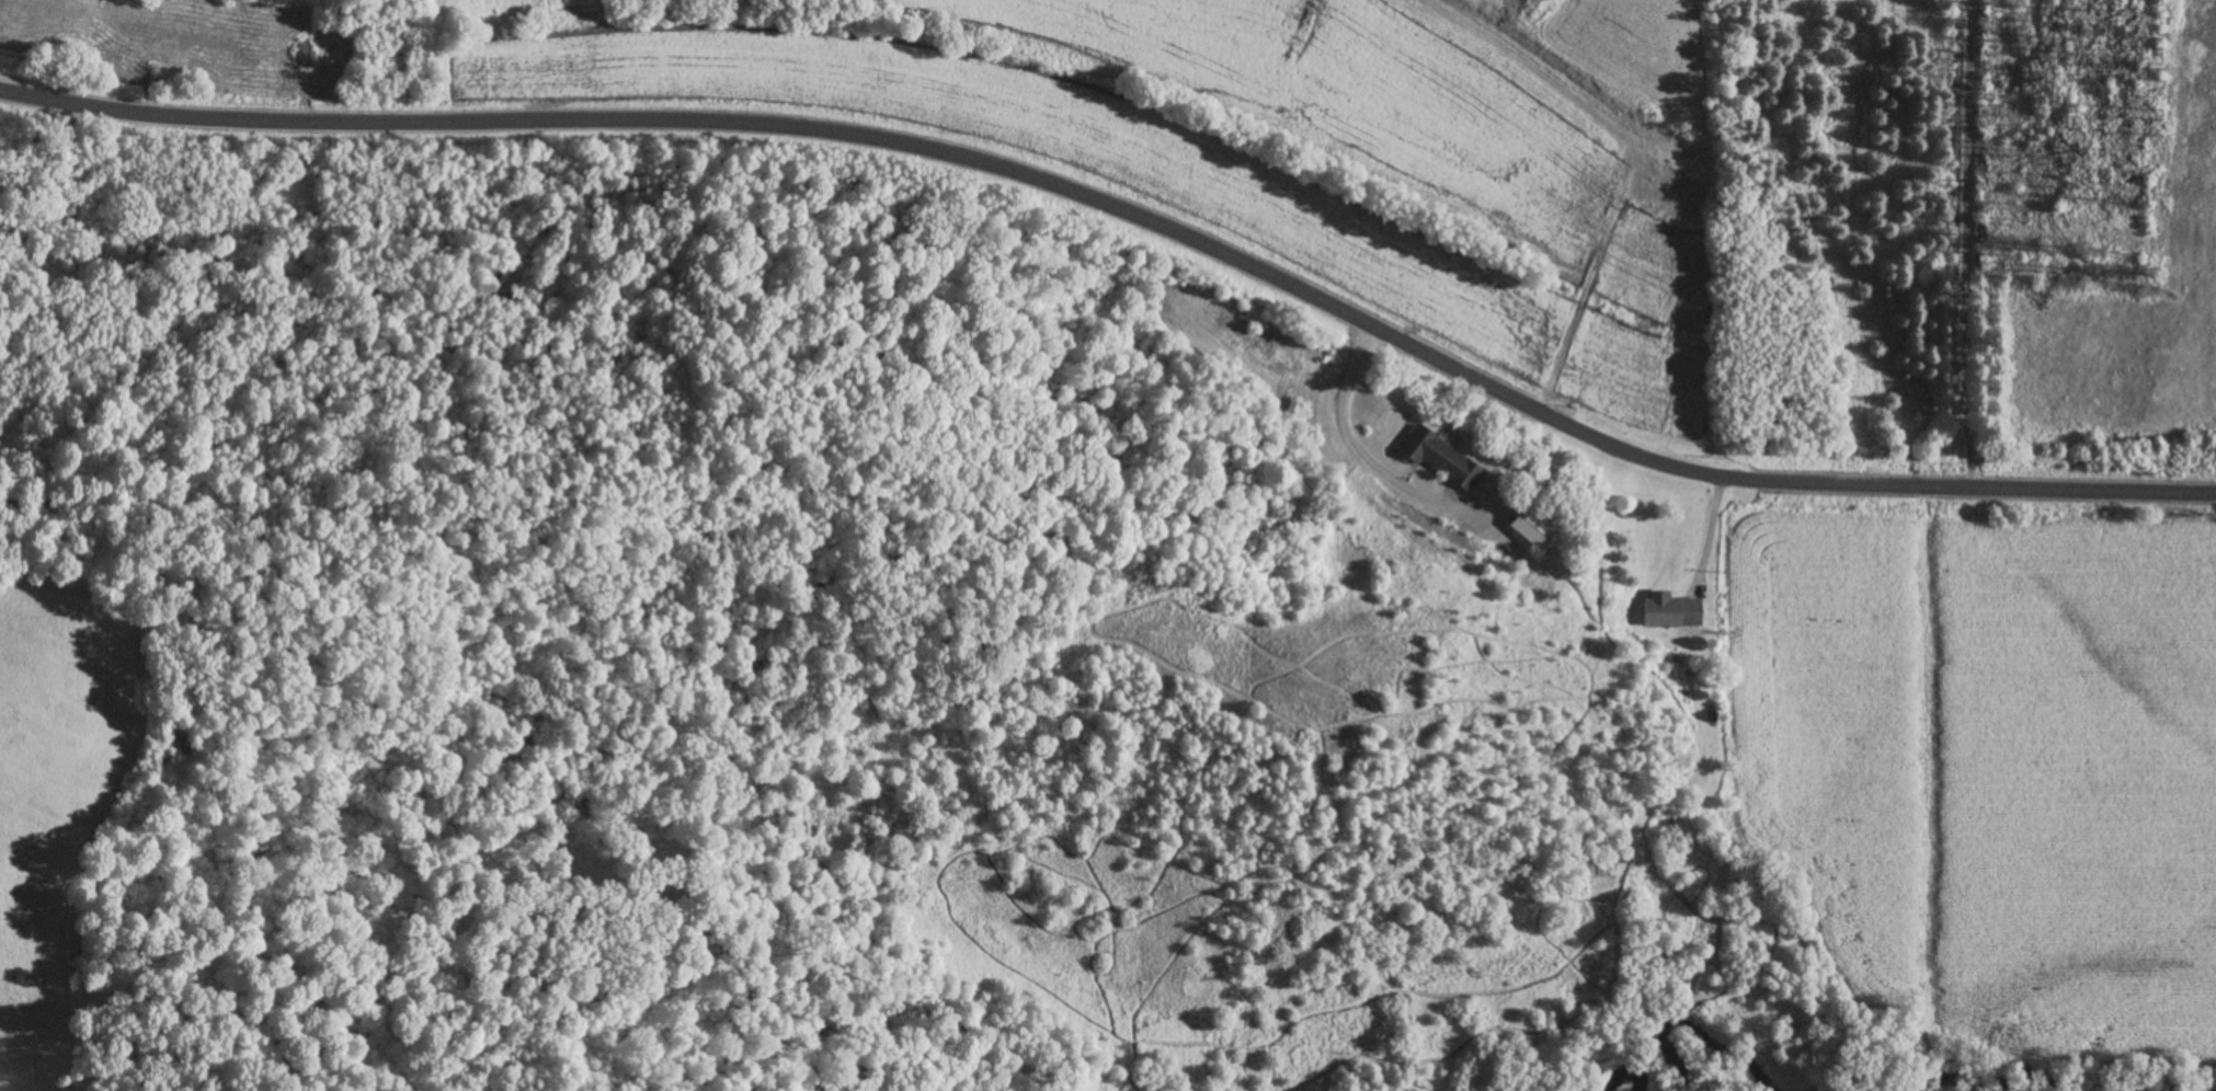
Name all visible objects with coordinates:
road: (1130, 205)
building: (1439, 459)
road: (1714, 526)
building: (1531, 529)
building: (1670, 611)

